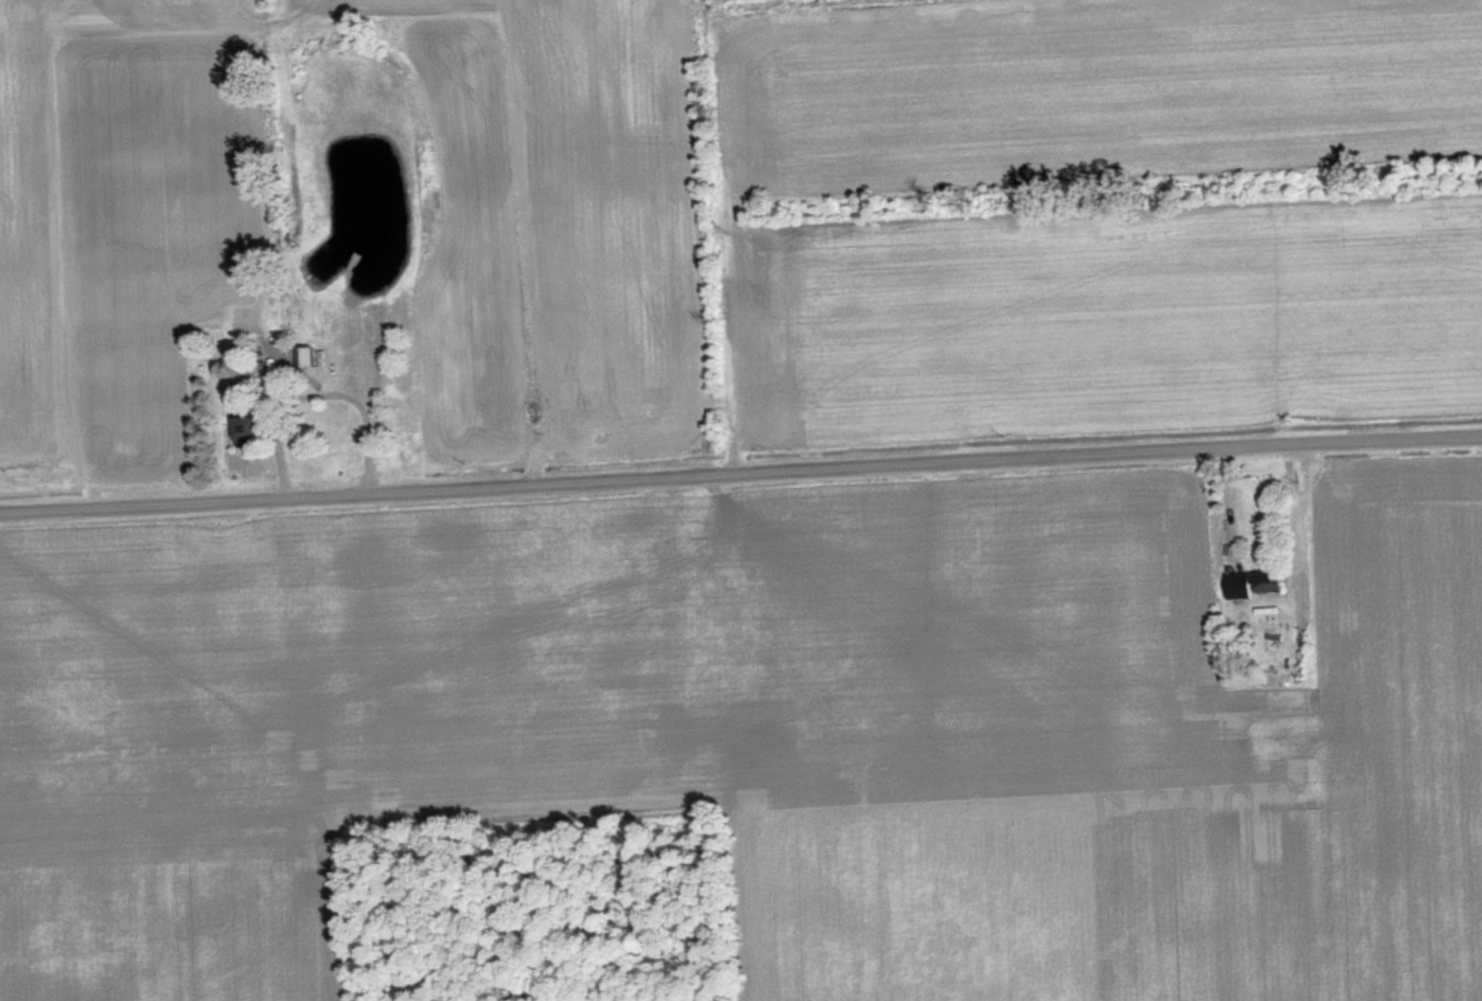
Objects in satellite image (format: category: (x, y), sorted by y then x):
building: (306, 356)
building: (248, 430)
road: (741, 472)
building: (1255, 583)
building: (1291, 762)

